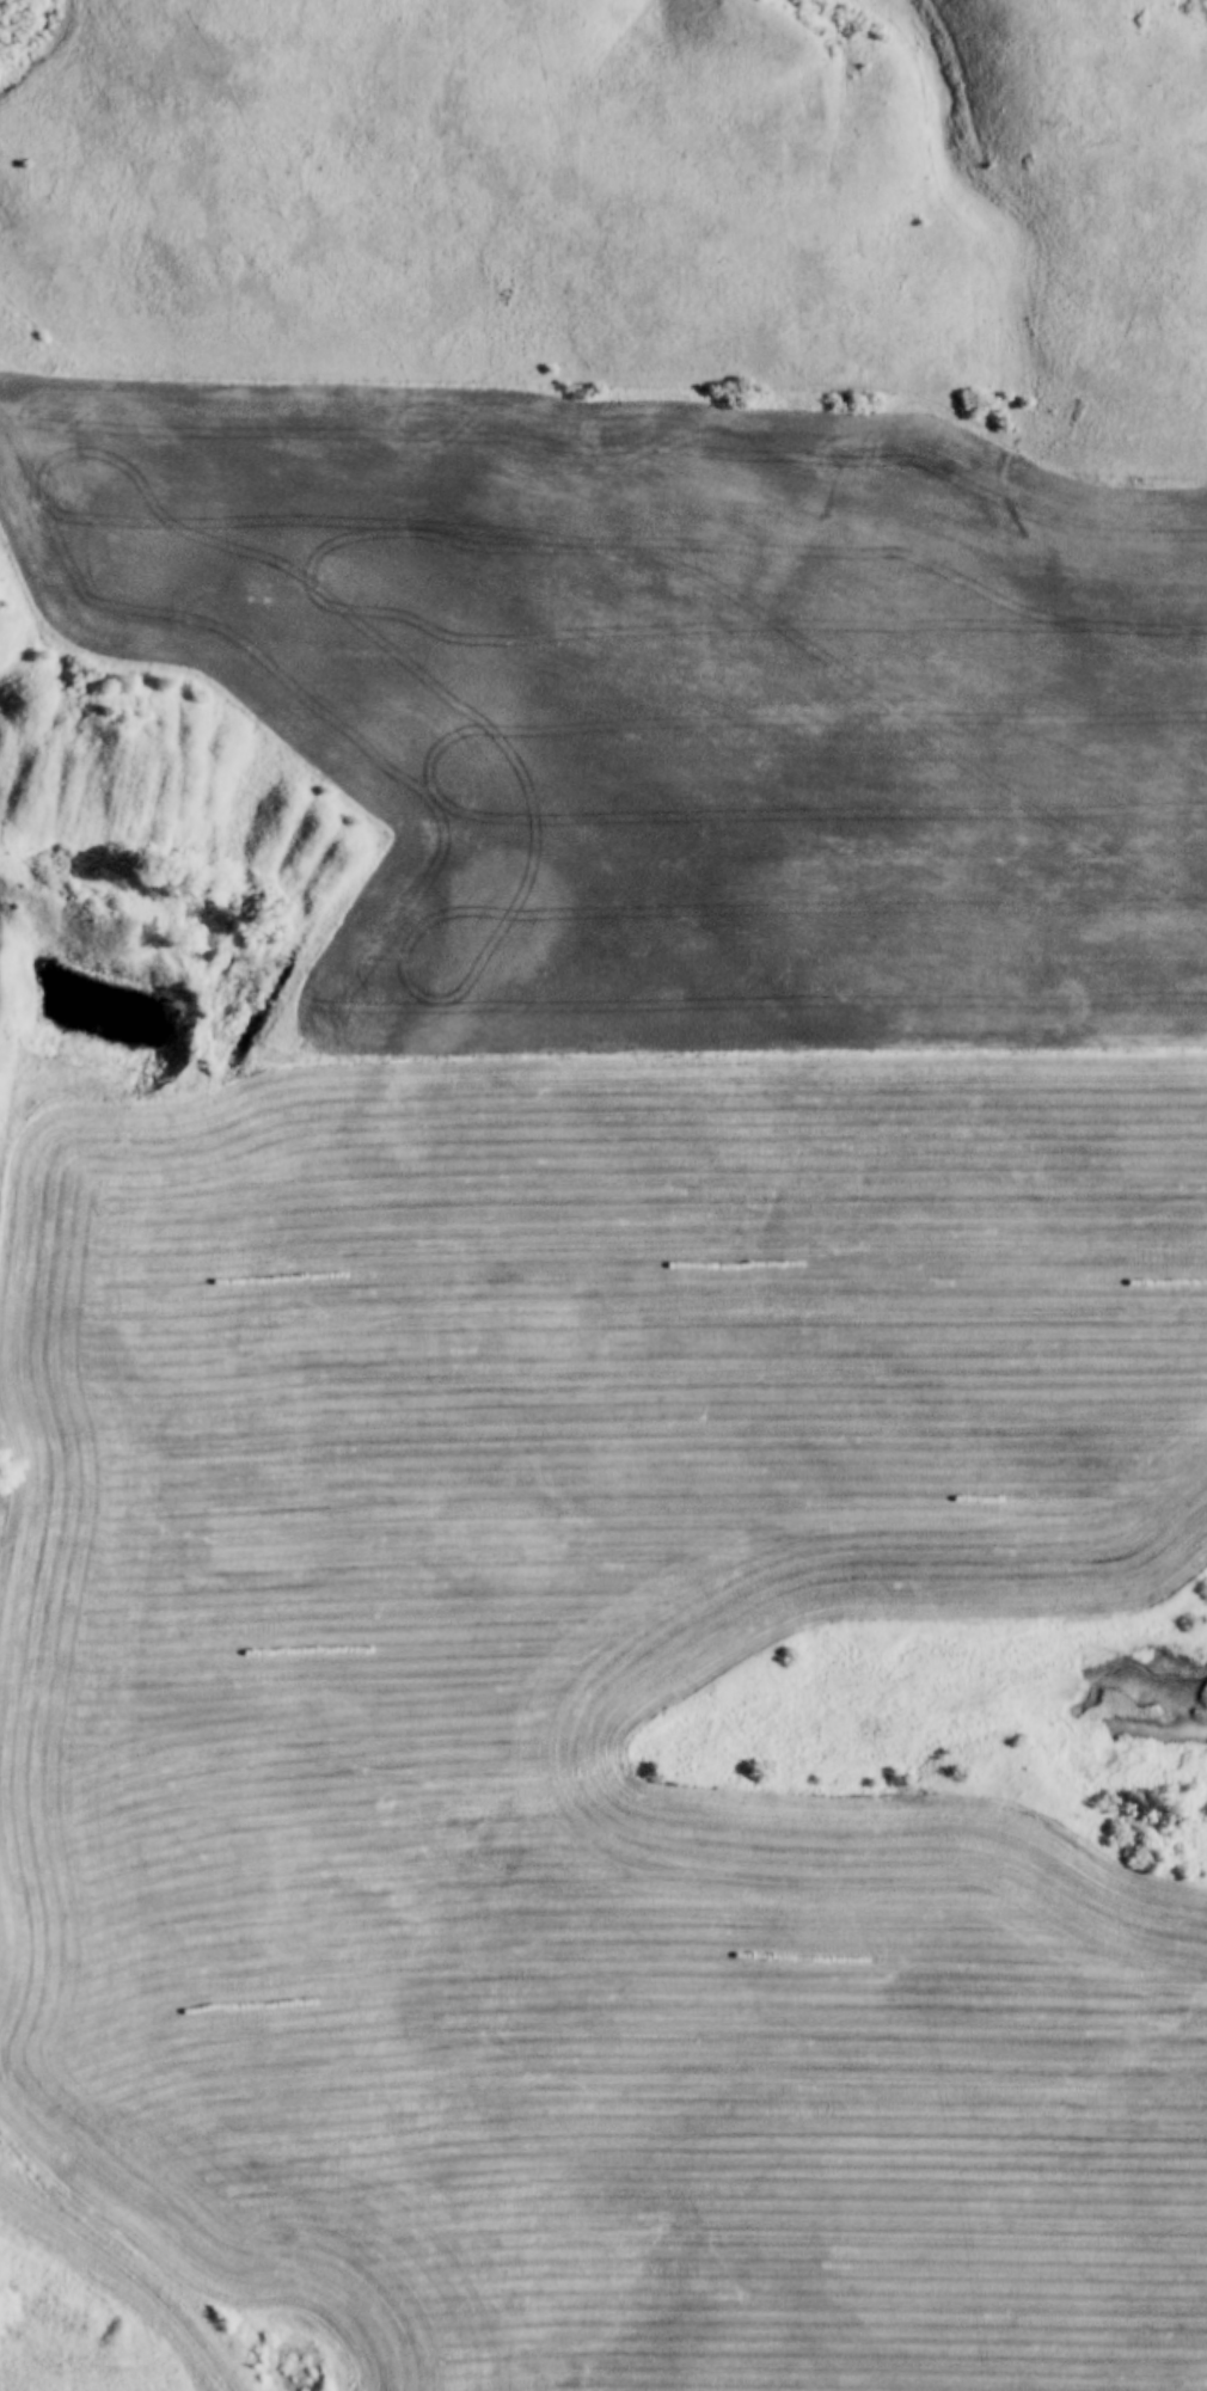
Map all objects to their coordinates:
road: (130, 2270)
quarry: (84, 2303)

